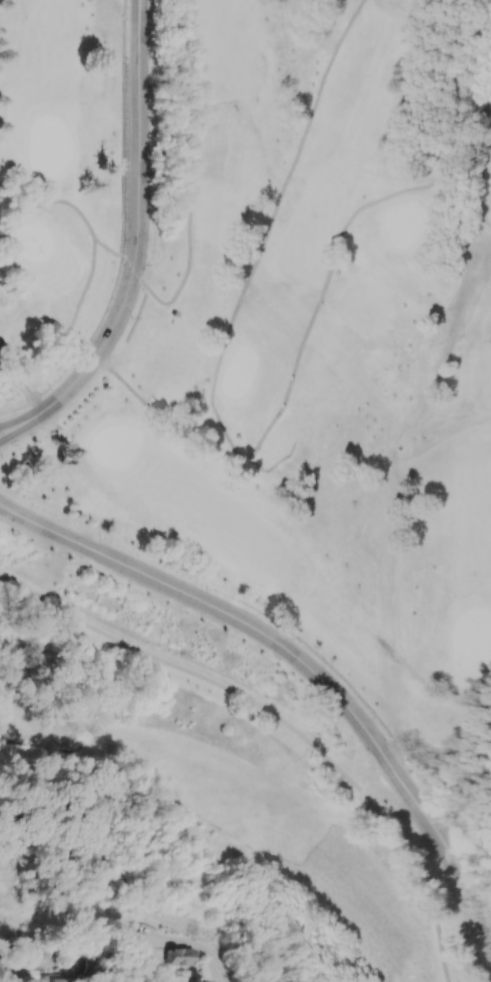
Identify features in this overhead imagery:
road: (489, 135)
road: (481, 152)
road: (50, 202)
road: (139, 233)
road: (124, 235)
road: (168, 306)
building: (176, 315)
park: (269, 324)
building: (0, 343)
road: (65, 344)
road: (458, 378)
road: (25, 389)
road: (16, 408)
road: (11, 426)
road: (11, 431)
road: (229, 444)
road: (11, 509)
road: (12, 513)
road: (418, 631)
road: (312, 672)
road: (487, 690)
road: (443, 698)
road: (280, 721)
park: (209, 774)
building: (130, 939)
building: (175, 956)
road: (213, 961)
road: (1, 965)
building: (53, 978)

